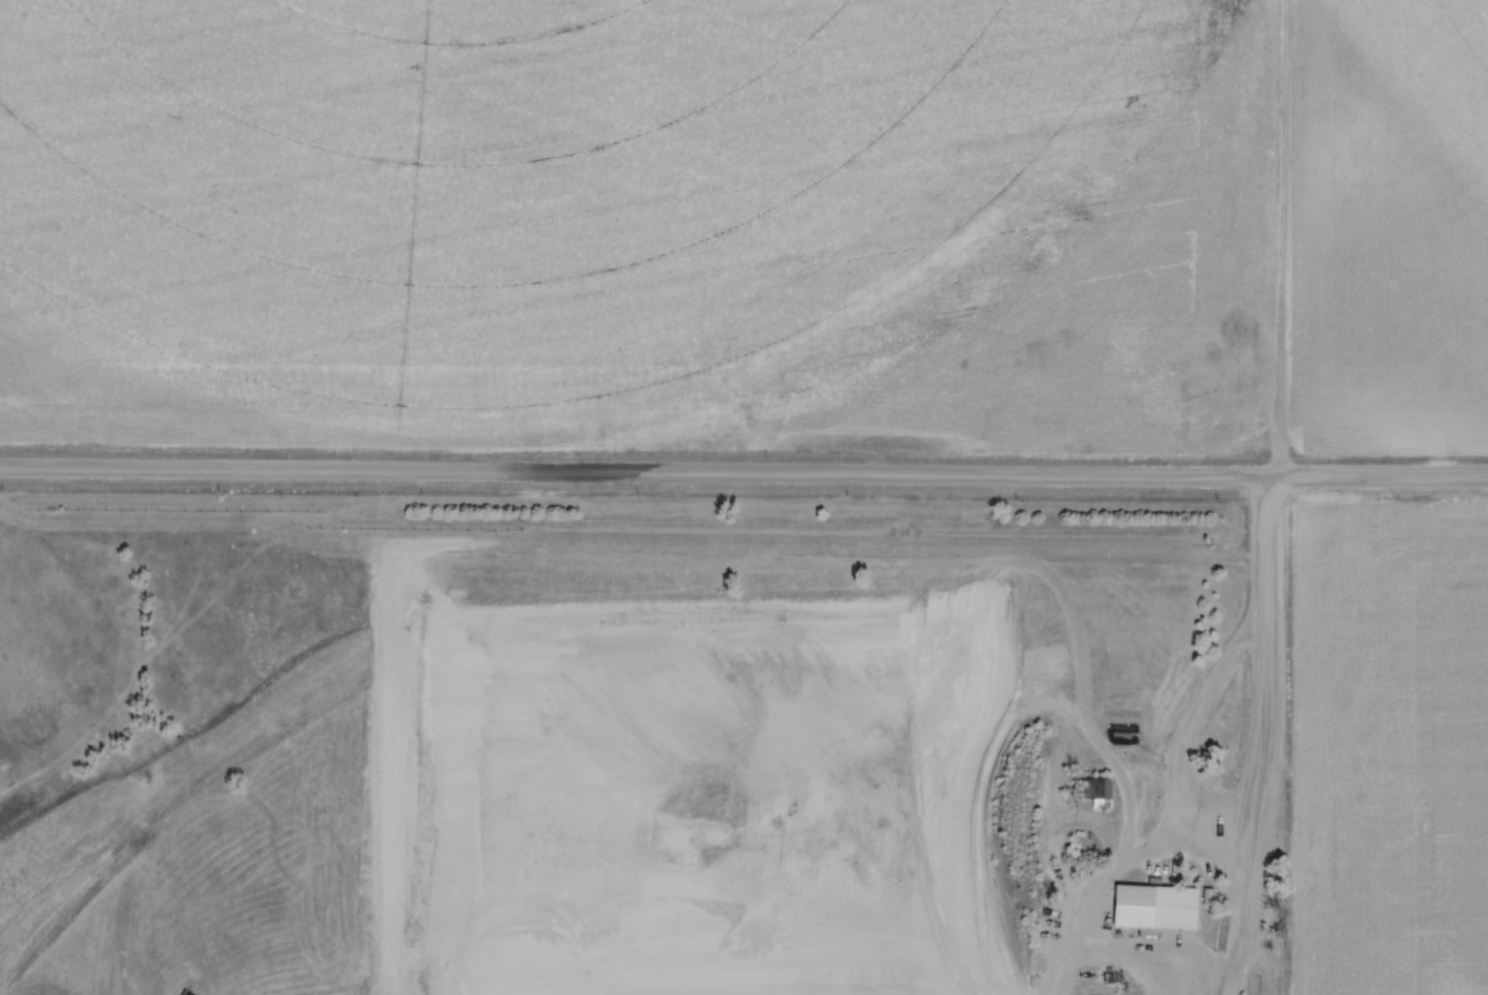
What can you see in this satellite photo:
crop: (748, 225)
road: (743, 472)
road: (1188, 725)
building: (1120, 736)
road: (1263, 737)
crop: (1388, 748)
building: (1099, 793)
road: (1090, 907)
building: (1157, 912)
road: (562, 993)

